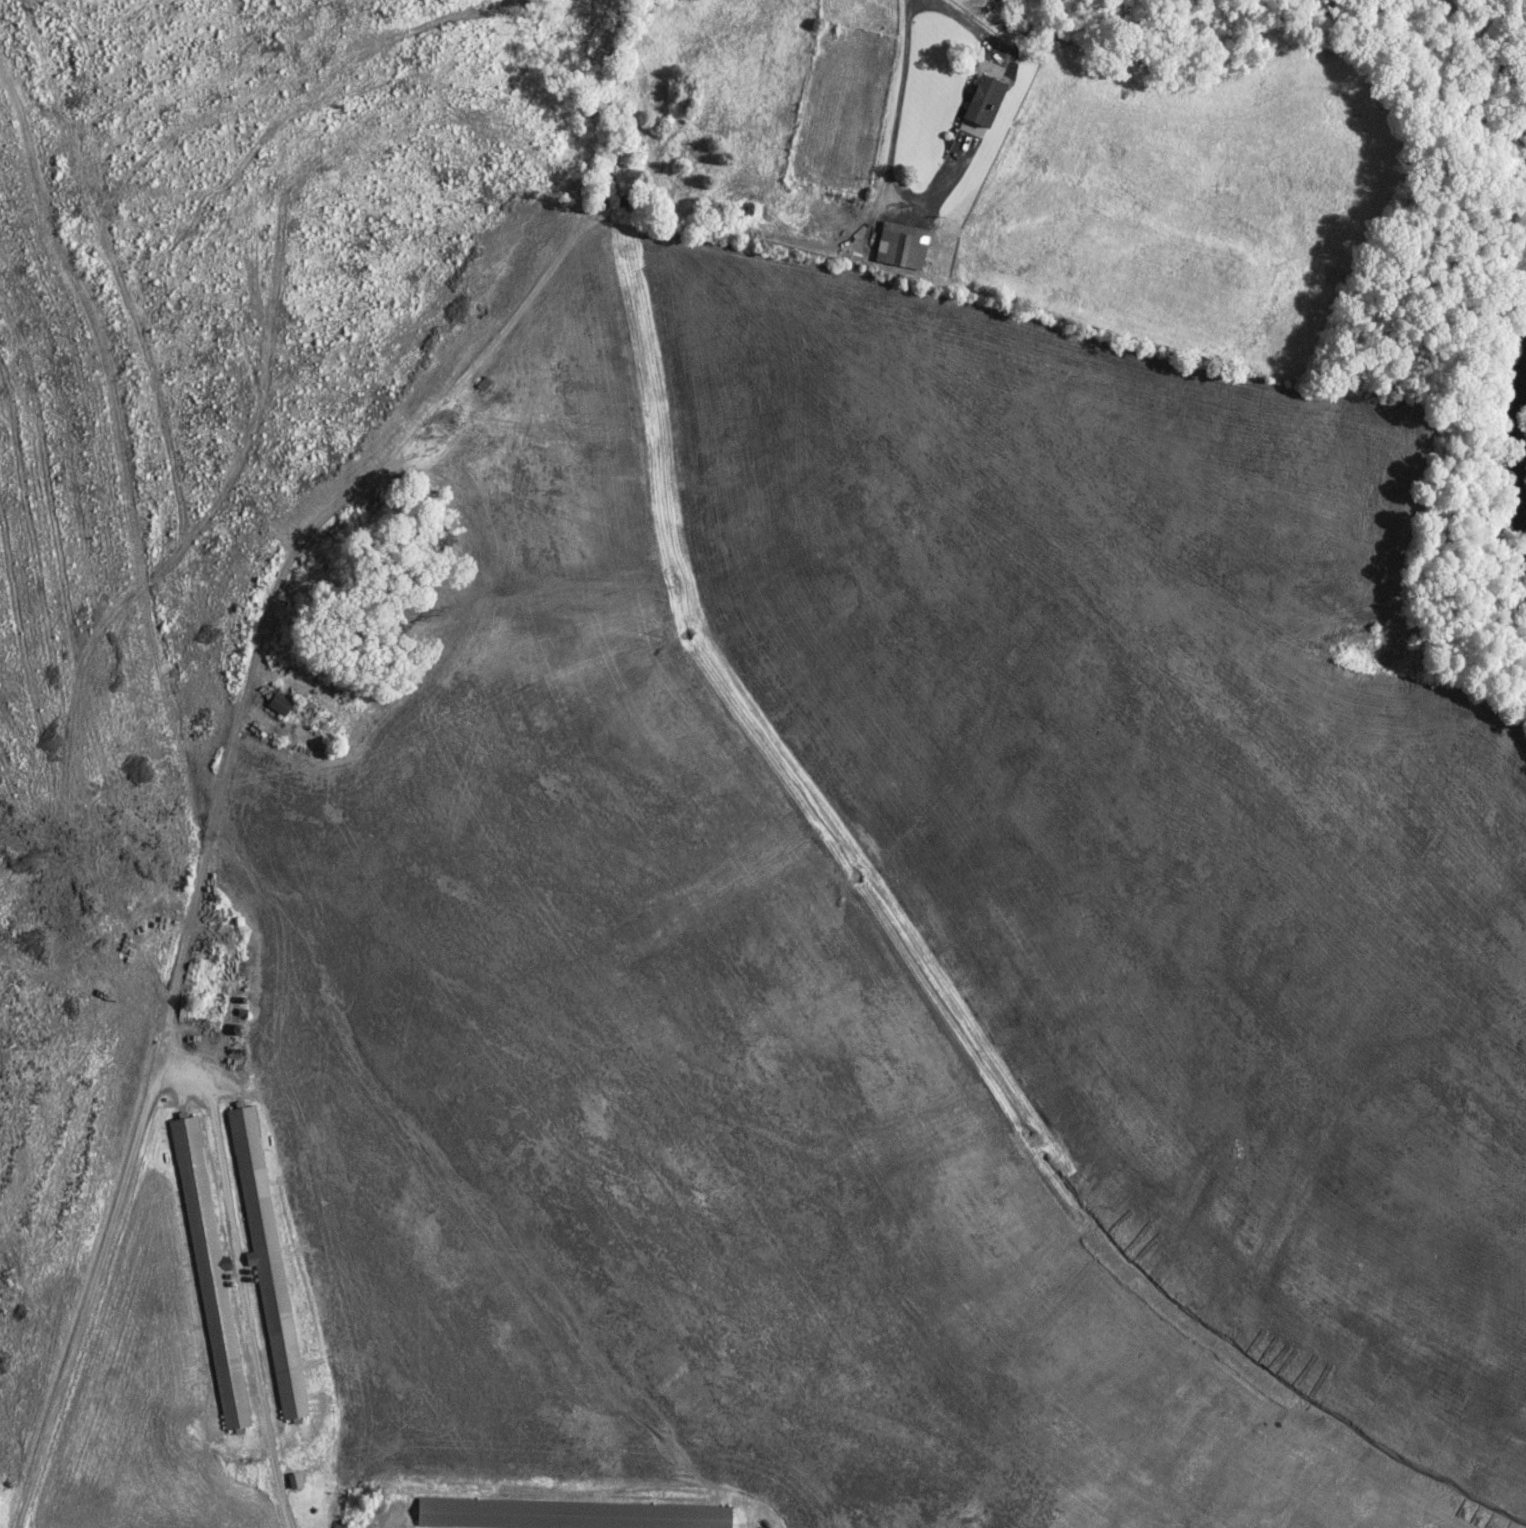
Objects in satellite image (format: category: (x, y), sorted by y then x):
road: (972, 25)
building: (989, 101)
building: (905, 245)
river: (1517, 447)
building: (282, 704)
road: (207, 853)
building: (269, 1255)
building: (213, 1271)
road: (241, 1280)
building: (297, 1480)

